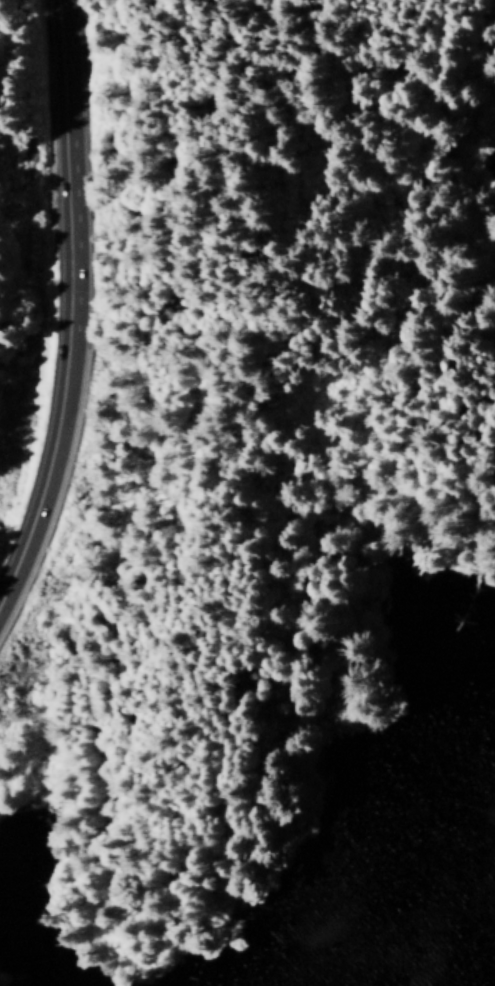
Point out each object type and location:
road: (55, 137)
road: (46, 443)

